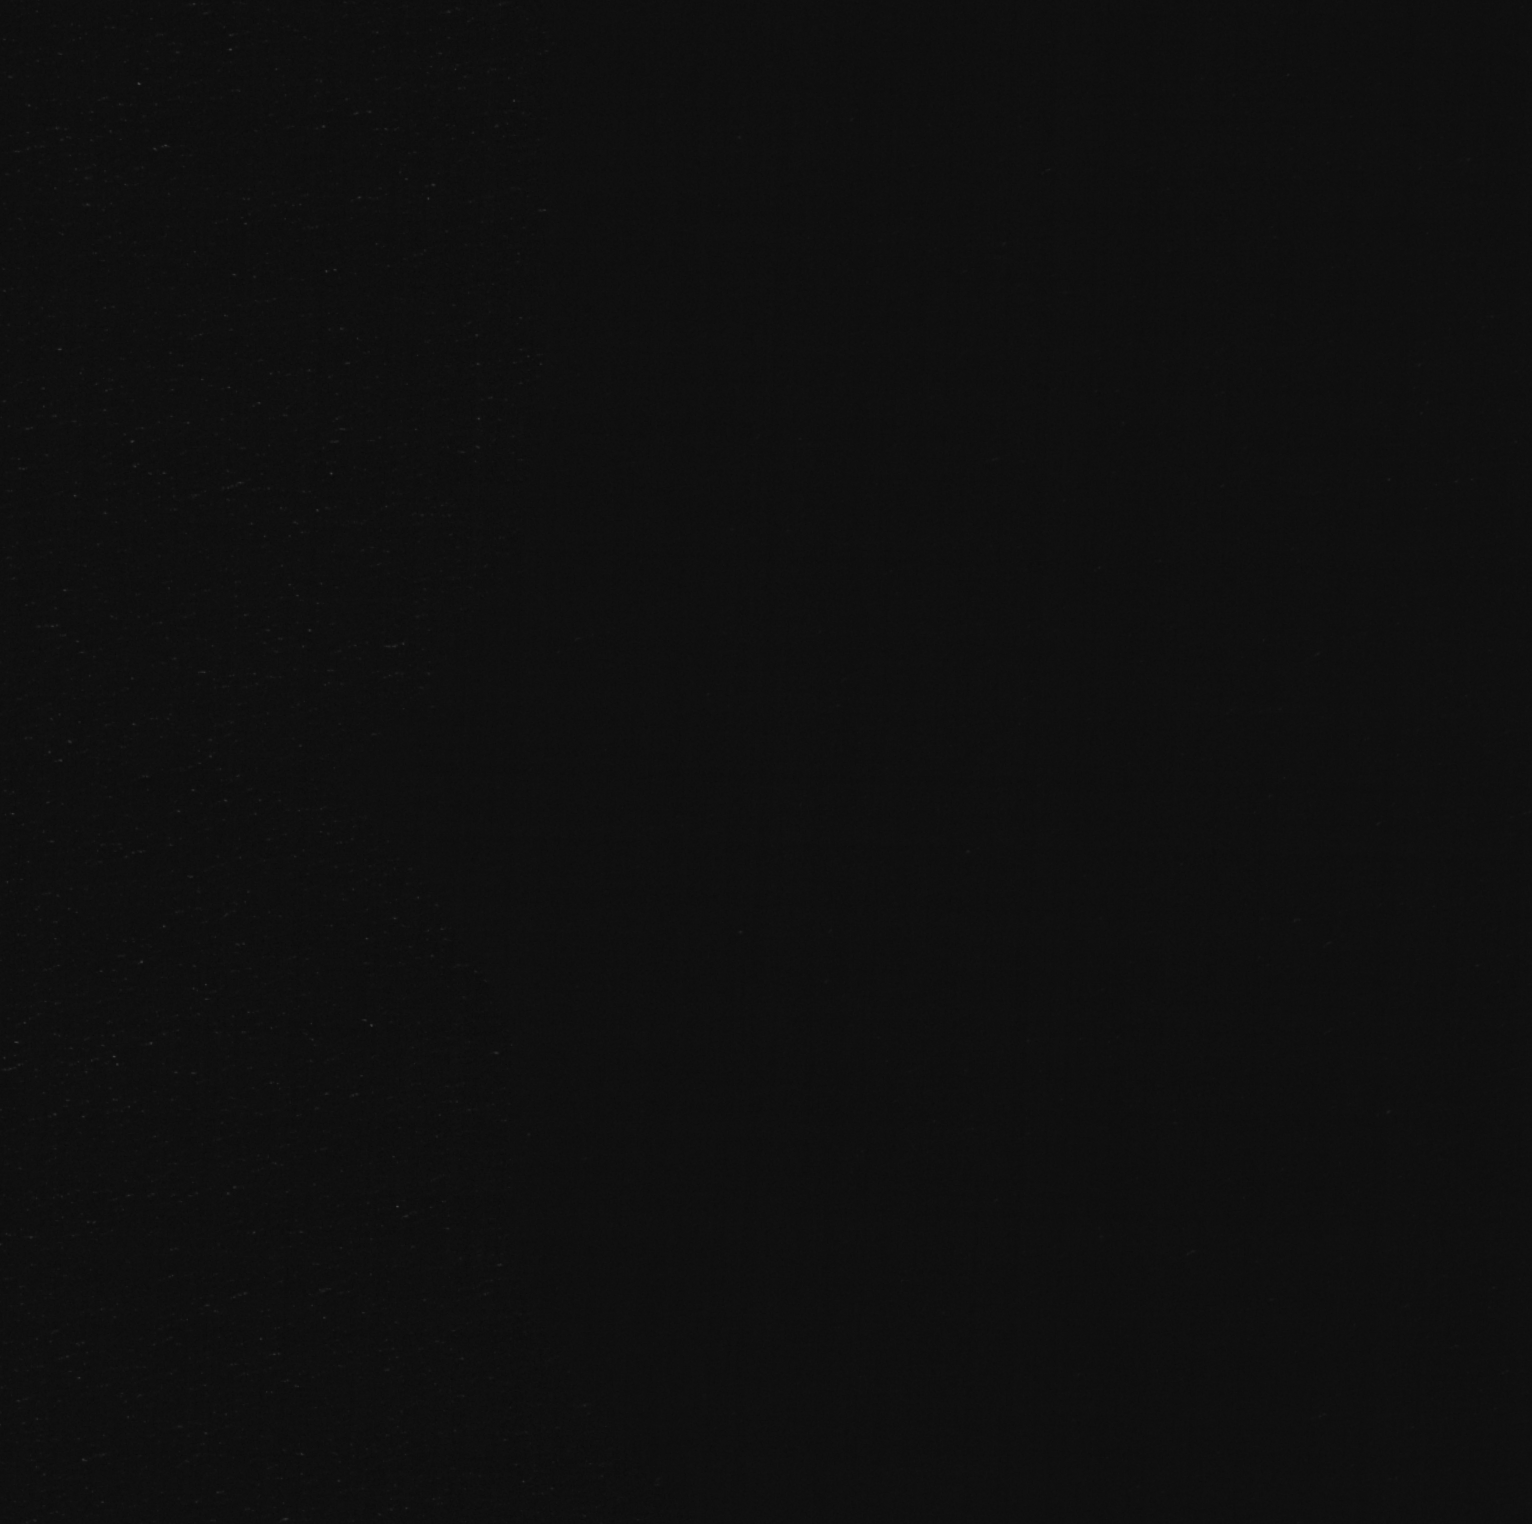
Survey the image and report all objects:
river: (766, 1107)

